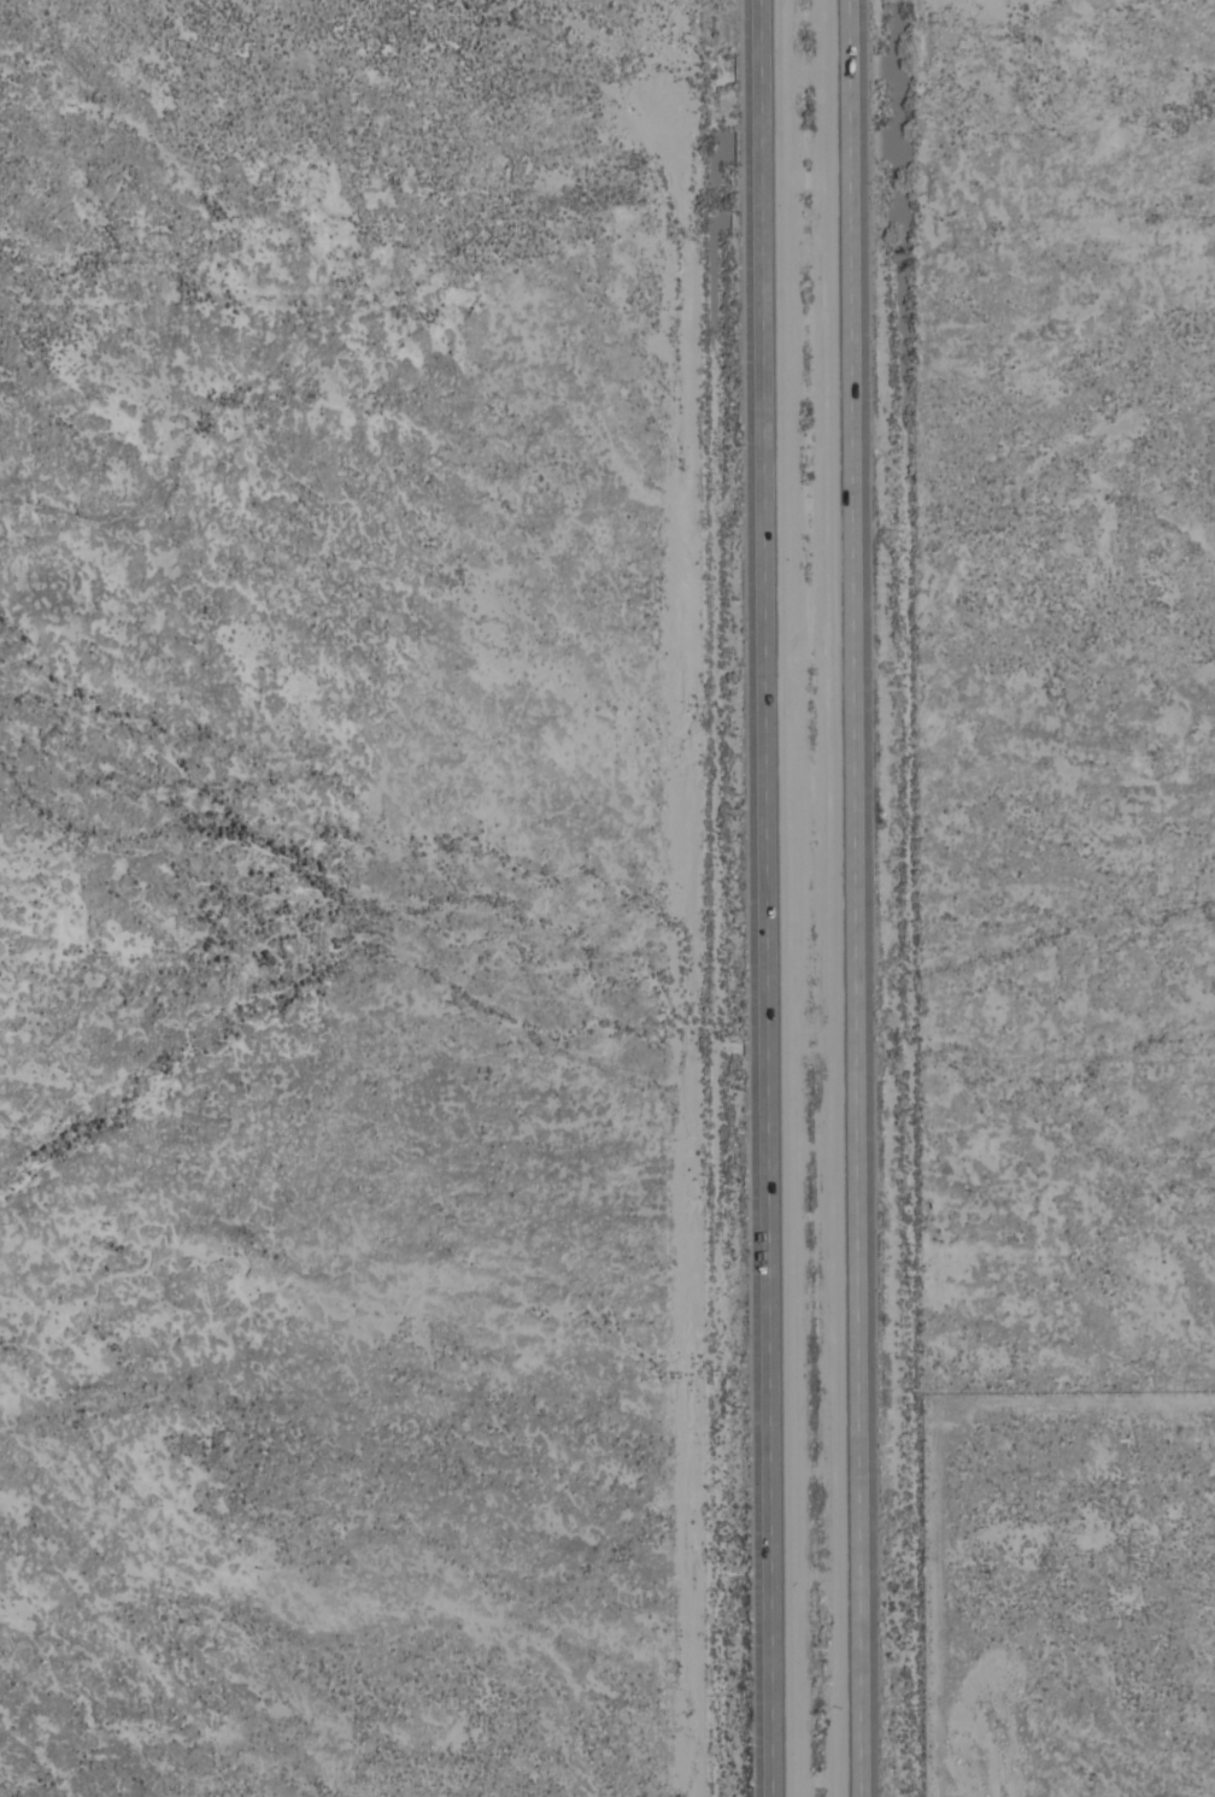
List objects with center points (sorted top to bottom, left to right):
road: (765, 898)
road: (853, 898)
wastewater plant: (1066, 1593)

